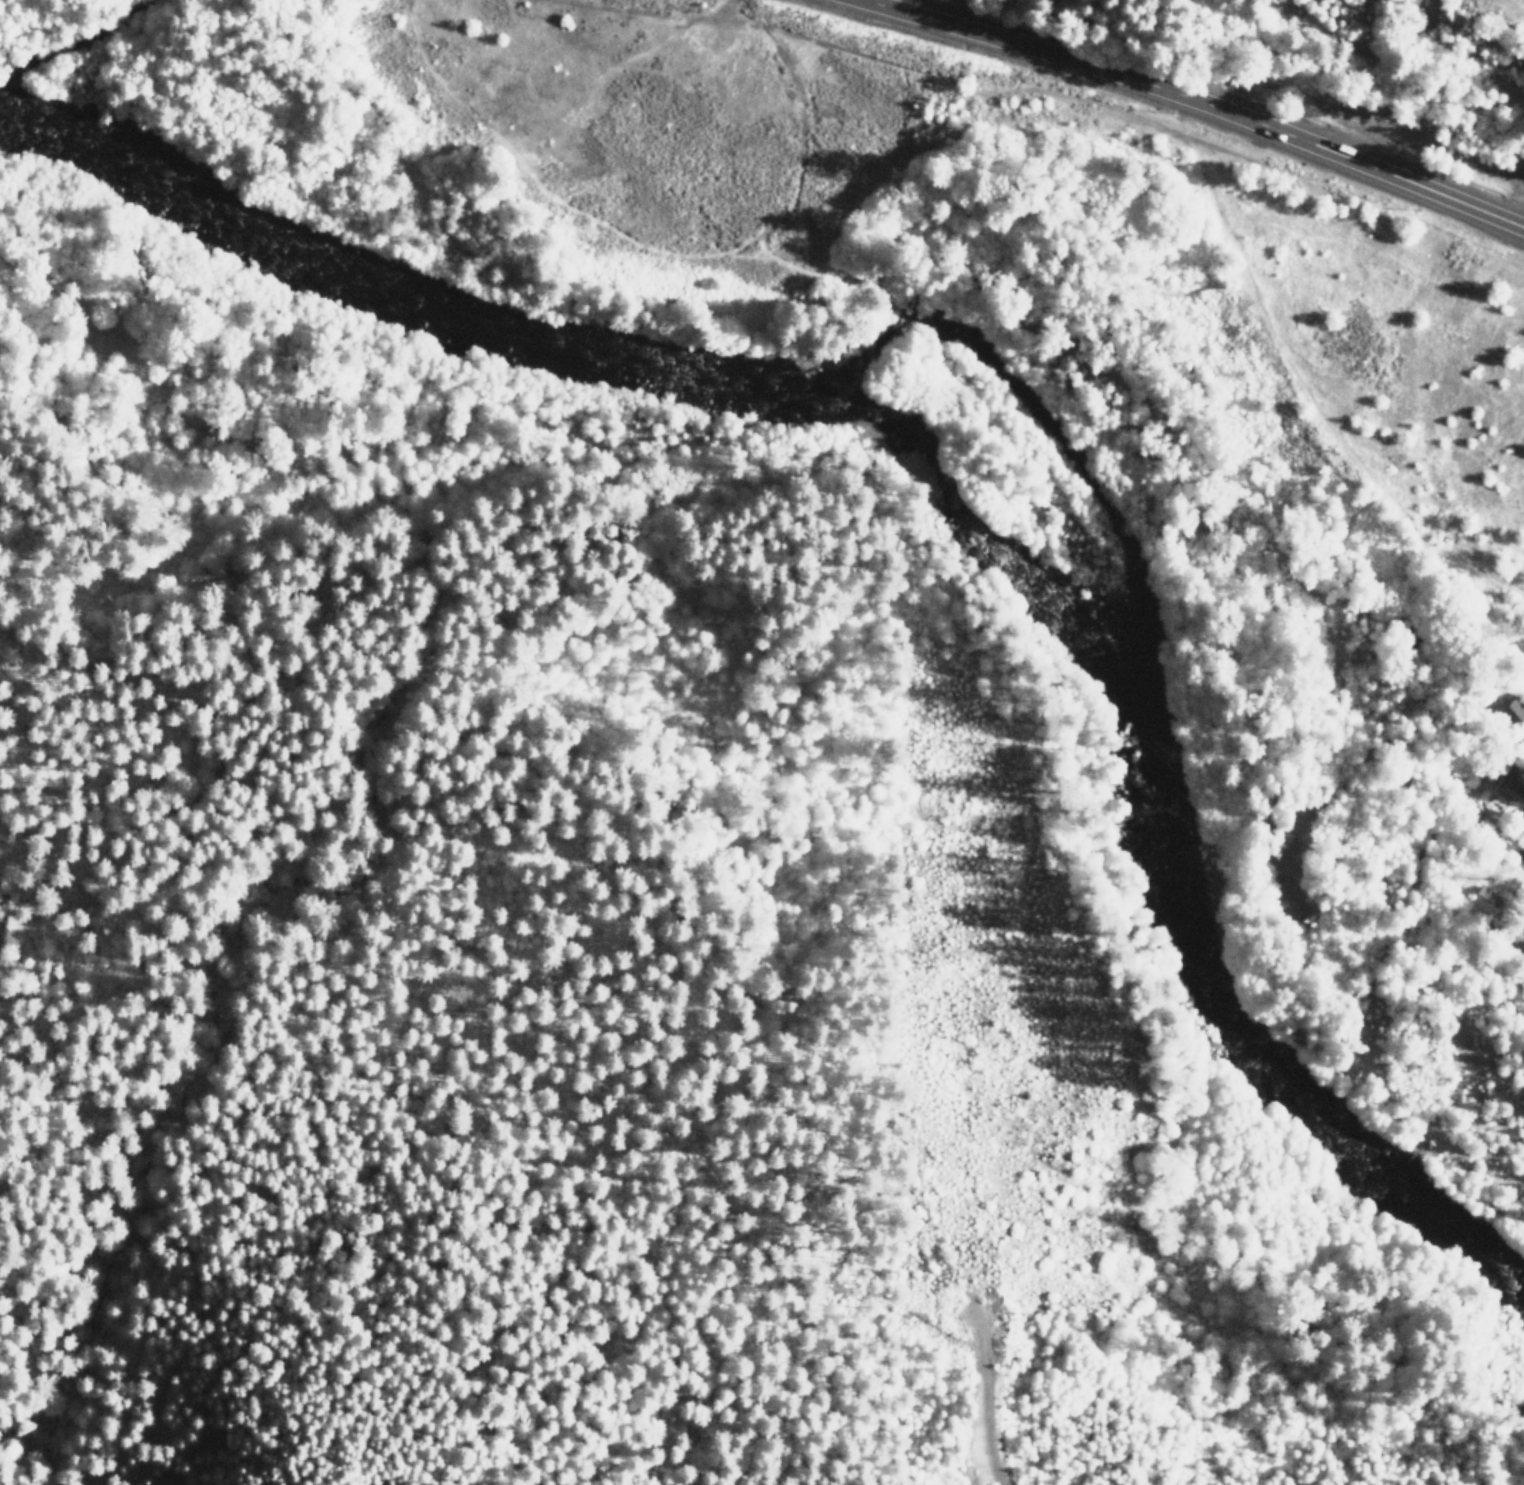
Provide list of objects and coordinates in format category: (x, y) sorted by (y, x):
road: (1516, 5)
road: (1190, 102)
road: (1420, 135)
river: (937, 484)
building: (1513, 711)
building: (1521, 741)
building: (1506, 789)
building: (1521, 822)
road: (1490, 835)
building: (1484, 900)
building: (1521, 937)

